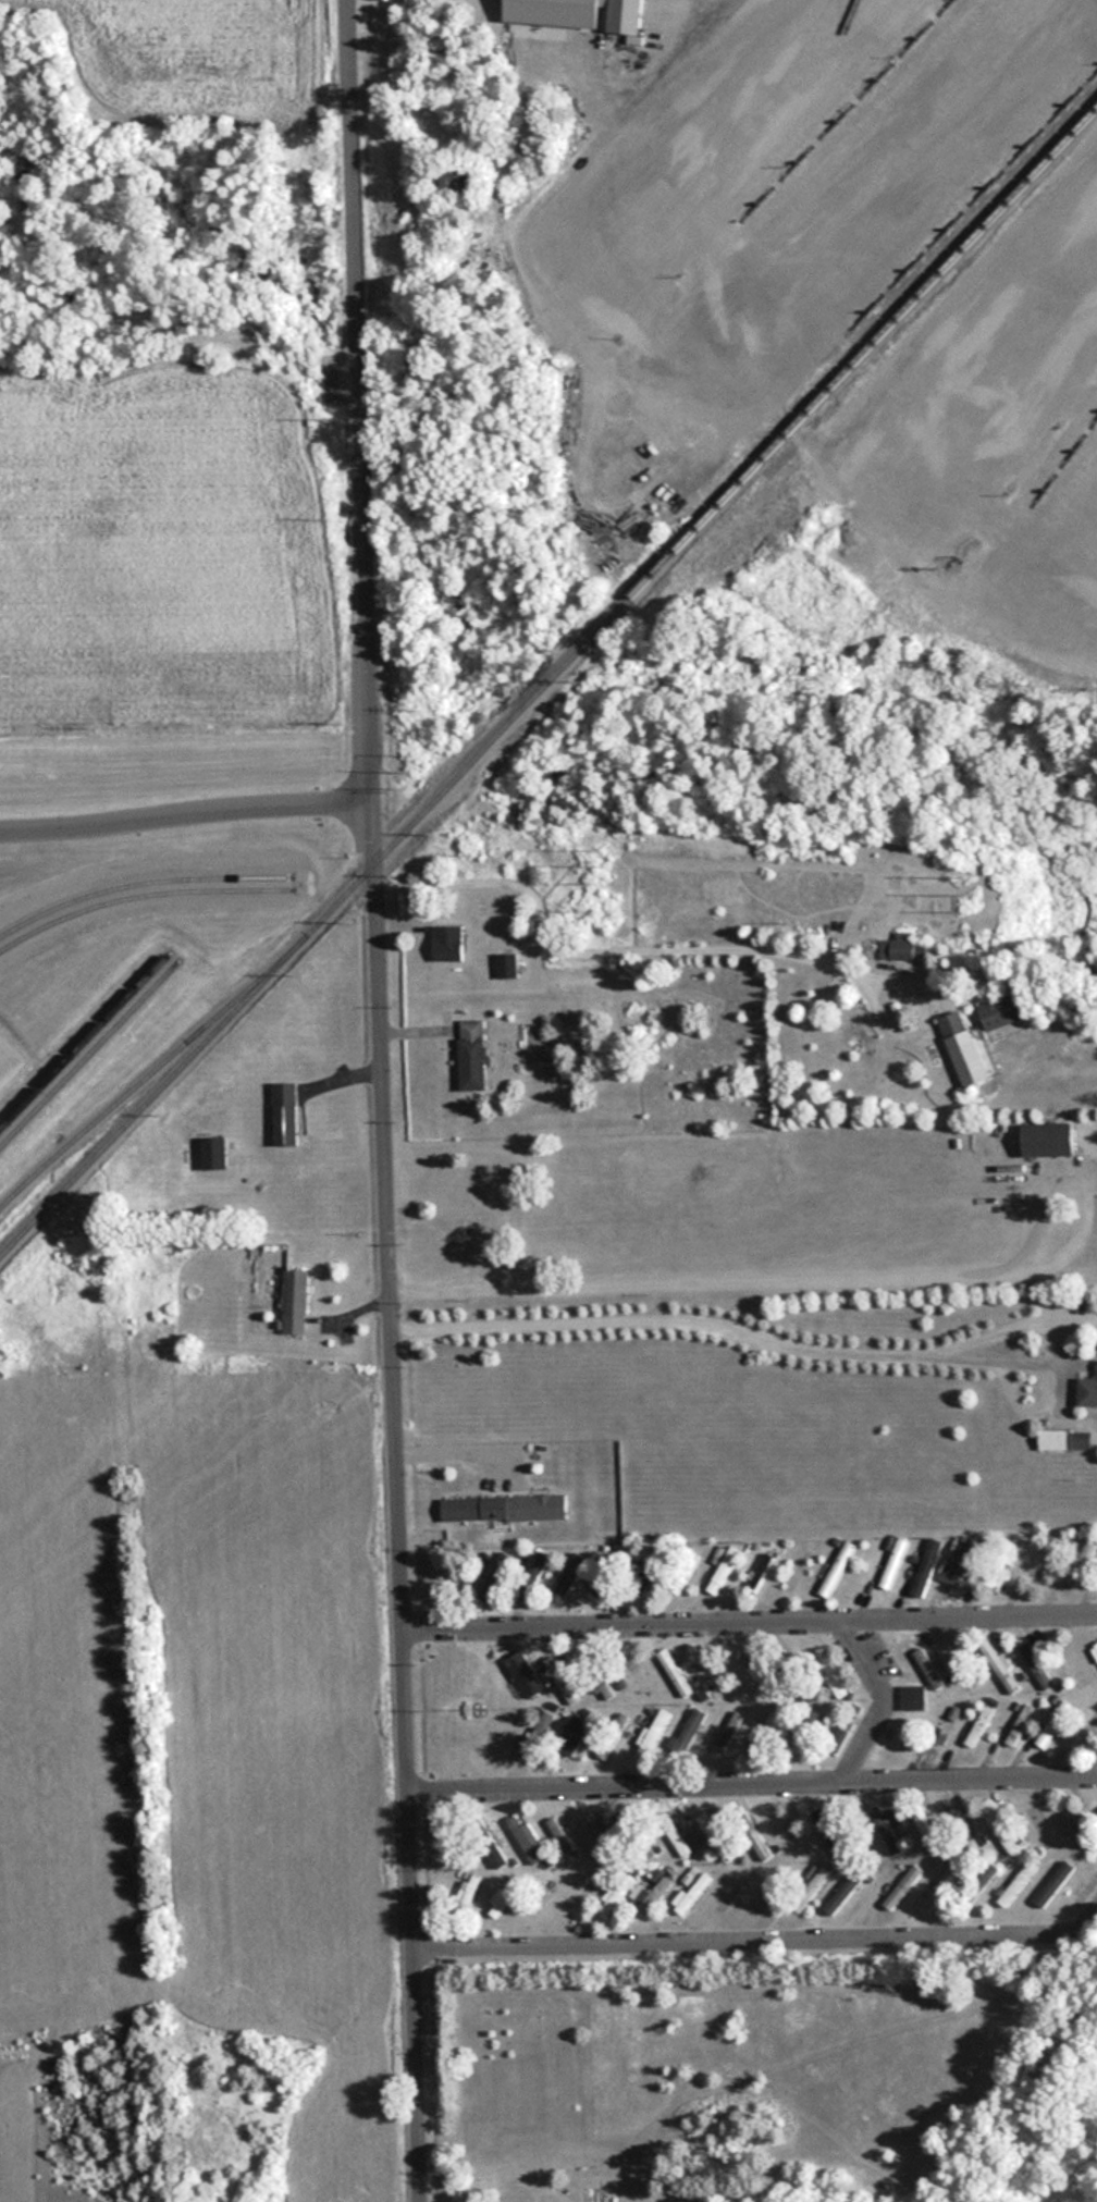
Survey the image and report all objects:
road: (677, 8)
building: (626, 16)
building: (437, 64)
building: (458, 181)
railway: (547, 680)
power tower: (409, 771)
road: (185, 812)
power tower: (604, 868)
power tower: (971, 895)
railway: (14, 922)
road: (639, 942)
building: (448, 943)
building: (907, 949)
building: (507, 965)
building: (1003, 1011)
railway: (84, 1041)
building: (964, 1048)
railway: (88, 1051)
building: (473, 1055)
railway: (145, 1077)
road: (380, 1100)
building: (286, 1114)
building: (1049, 1139)
building: (213, 1153)
road: (827, 1266)
building: (295, 1301)
road: (700, 1318)
building: (1087, 1392)
building: (1064, 1439)
building: (503, 1509)
building: (892, 1563)
building: (1038, 1563)
building: (1081, 1563)
building: (1001, 1565)
building: (925, 1566)
building: (958, 1566)
building: (722, 1570)
building: (797, 1570)
building: (492, 1574)
building: (568, 1577)
building: (660, 1577)
road: (750, 1625)
building: (1095, 1649)
building: (989, 1659)
building: (1034, 1665)
building: (552, 1666)
building: (927, 1669)
building: (673, 1672)
building: (750, 1672)
building: (634, 1673)
building: (712, 1673)
building: (827, 1673)
building: (1007, 1685)
building: (570, 1695)
building: (913, 1698)
road: (883, 1703)
building: (978, 1725)
building: (1018, 1725)
building: (1052, 1725)
building: (687, 1729)
building: (803, 1730)
building: (728, 1731)
building: (539, 1732)
building: (765, 1733)
building: (651, 1734)
building: (572, 1735)
road: (752, 1788)
building: (954, 1817)
building: (1078, 1826)
building: (926, 1830)
building: (886, 1831)
building: (829, 1833)
building: (526, 1840)
building: (761, 1841)
building: (496, 1857)
building: (1052, 1884)
building: (1014, 1886)
building: (1083, 1890)
building: (467, 1892)
building: (691, 1893)
building: (615, 1894)
building: (580, 1896)
building: (502, 1899)
road: (757, 1945)

